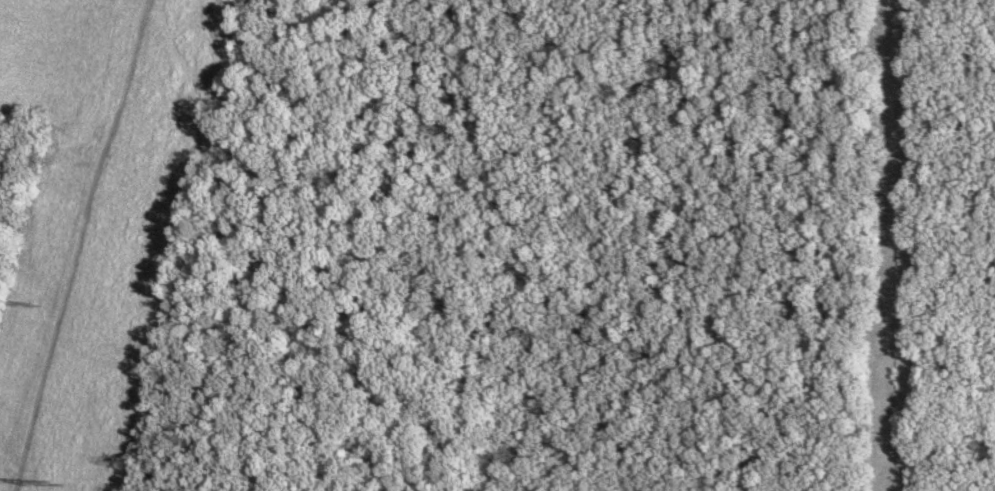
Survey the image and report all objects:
power tower: (47, 482)

